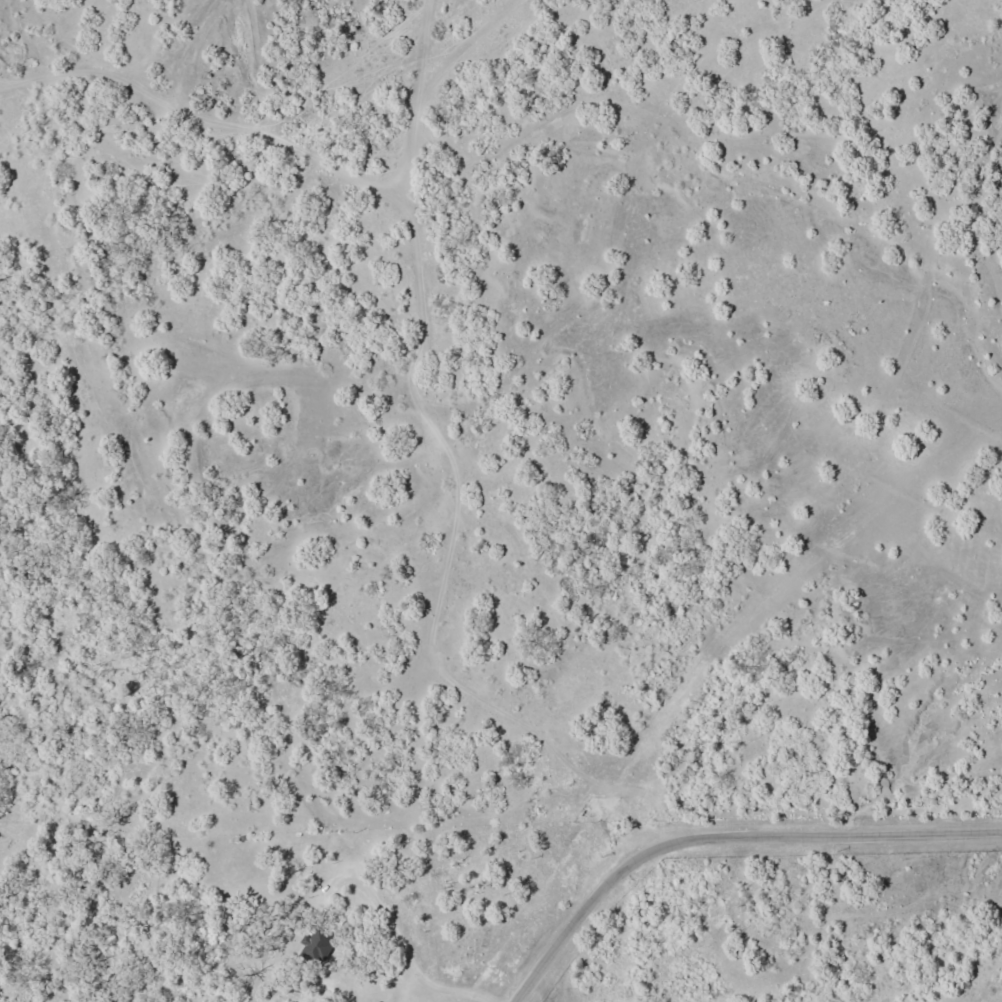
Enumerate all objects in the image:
road: (723, 835)
building: (317, 945)

